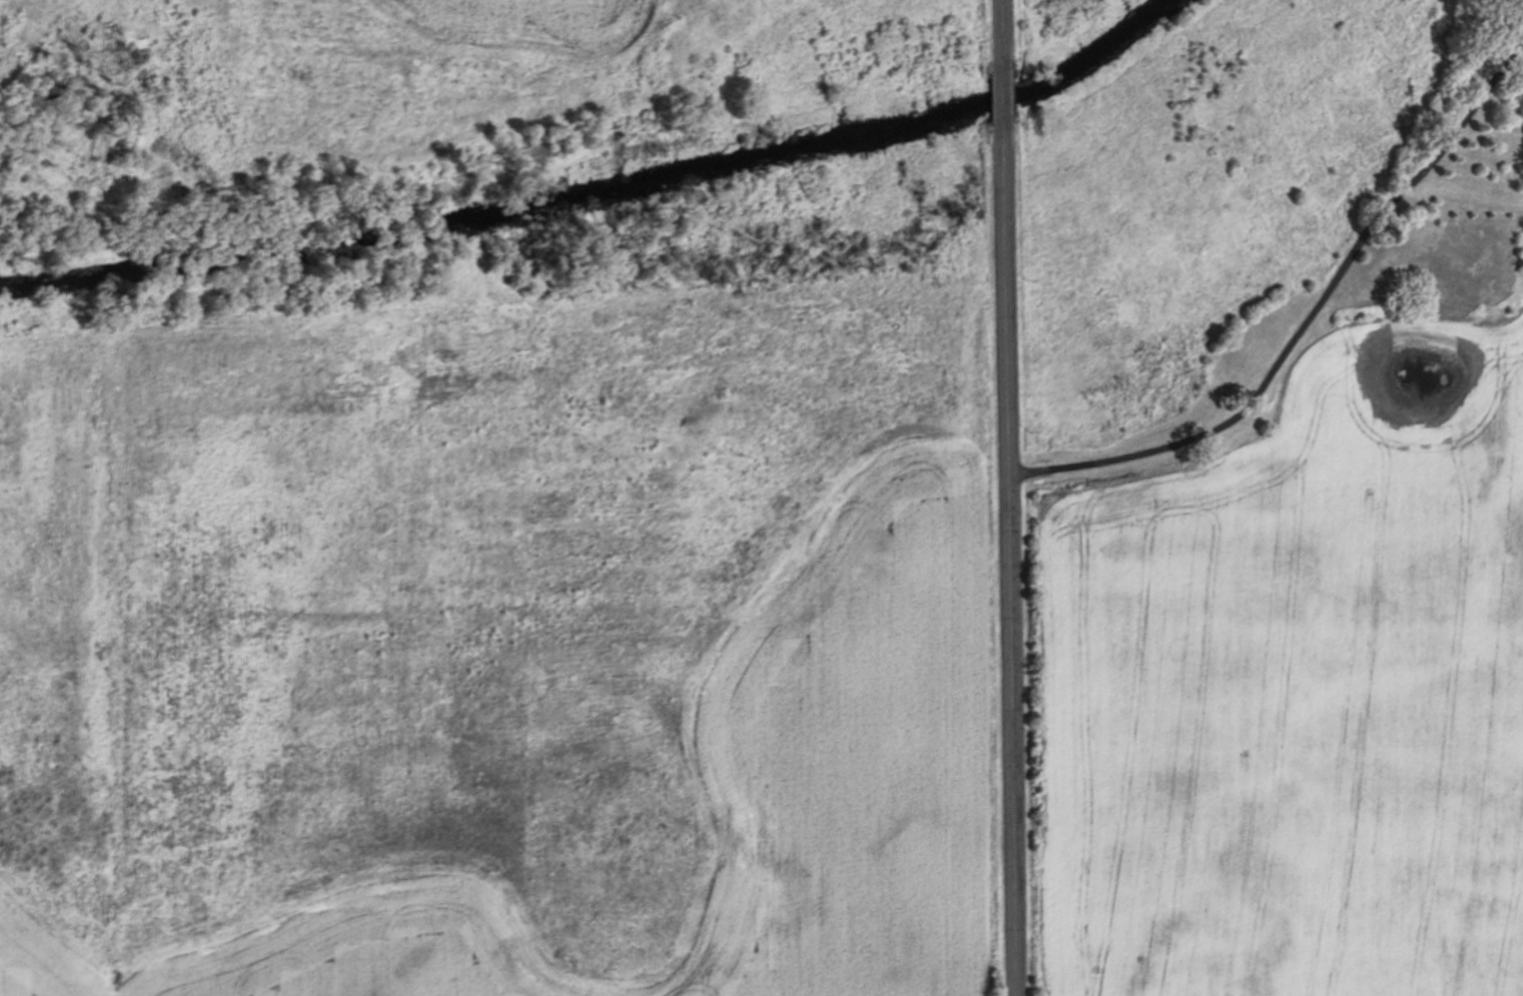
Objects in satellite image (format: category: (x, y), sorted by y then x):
road: (1308, 325)
road: (1007, 497)

